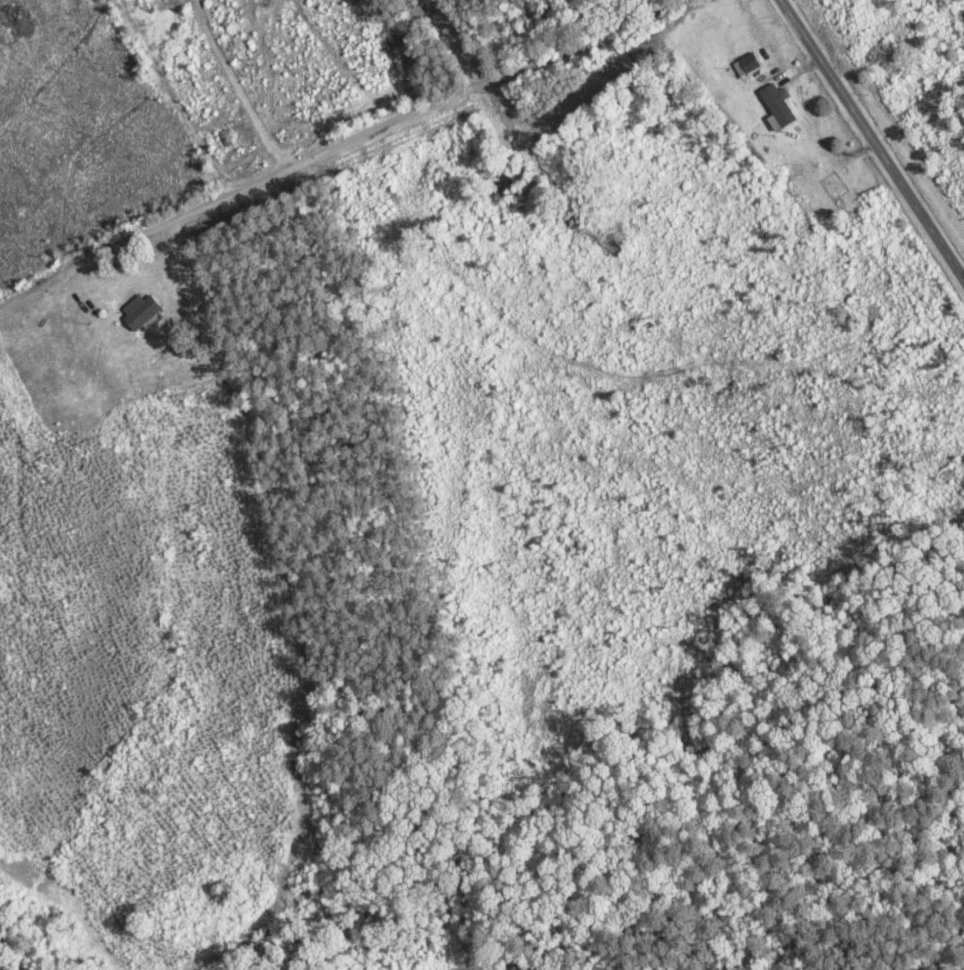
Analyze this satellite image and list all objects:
building: (750, 63)
building: (781, 113)
road: (370, 133)
road: (874, 134)
building: (835, 189)
building: (144, 314)

